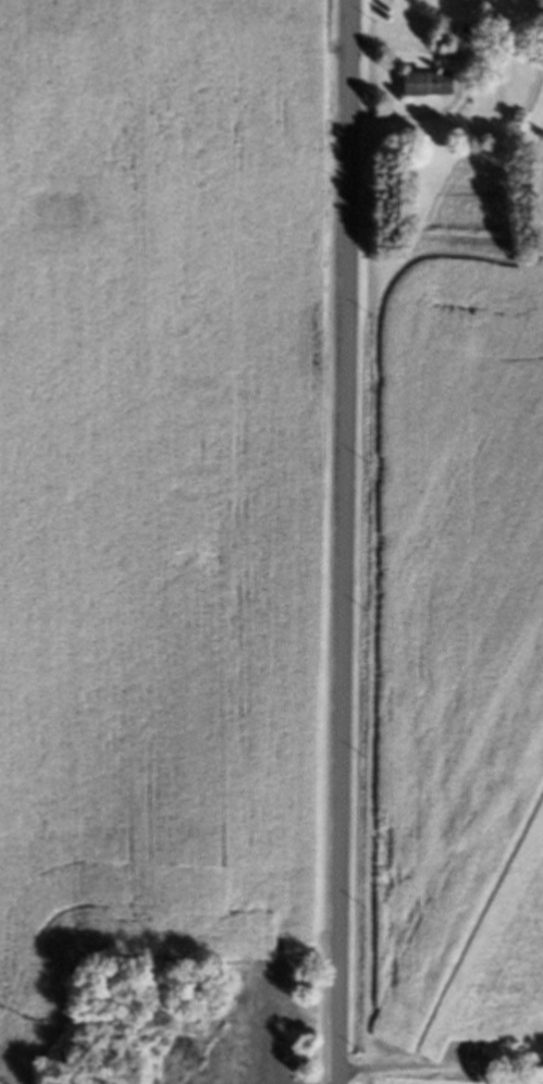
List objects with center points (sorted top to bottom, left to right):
building: (427, 88)
road: (347, 541)

